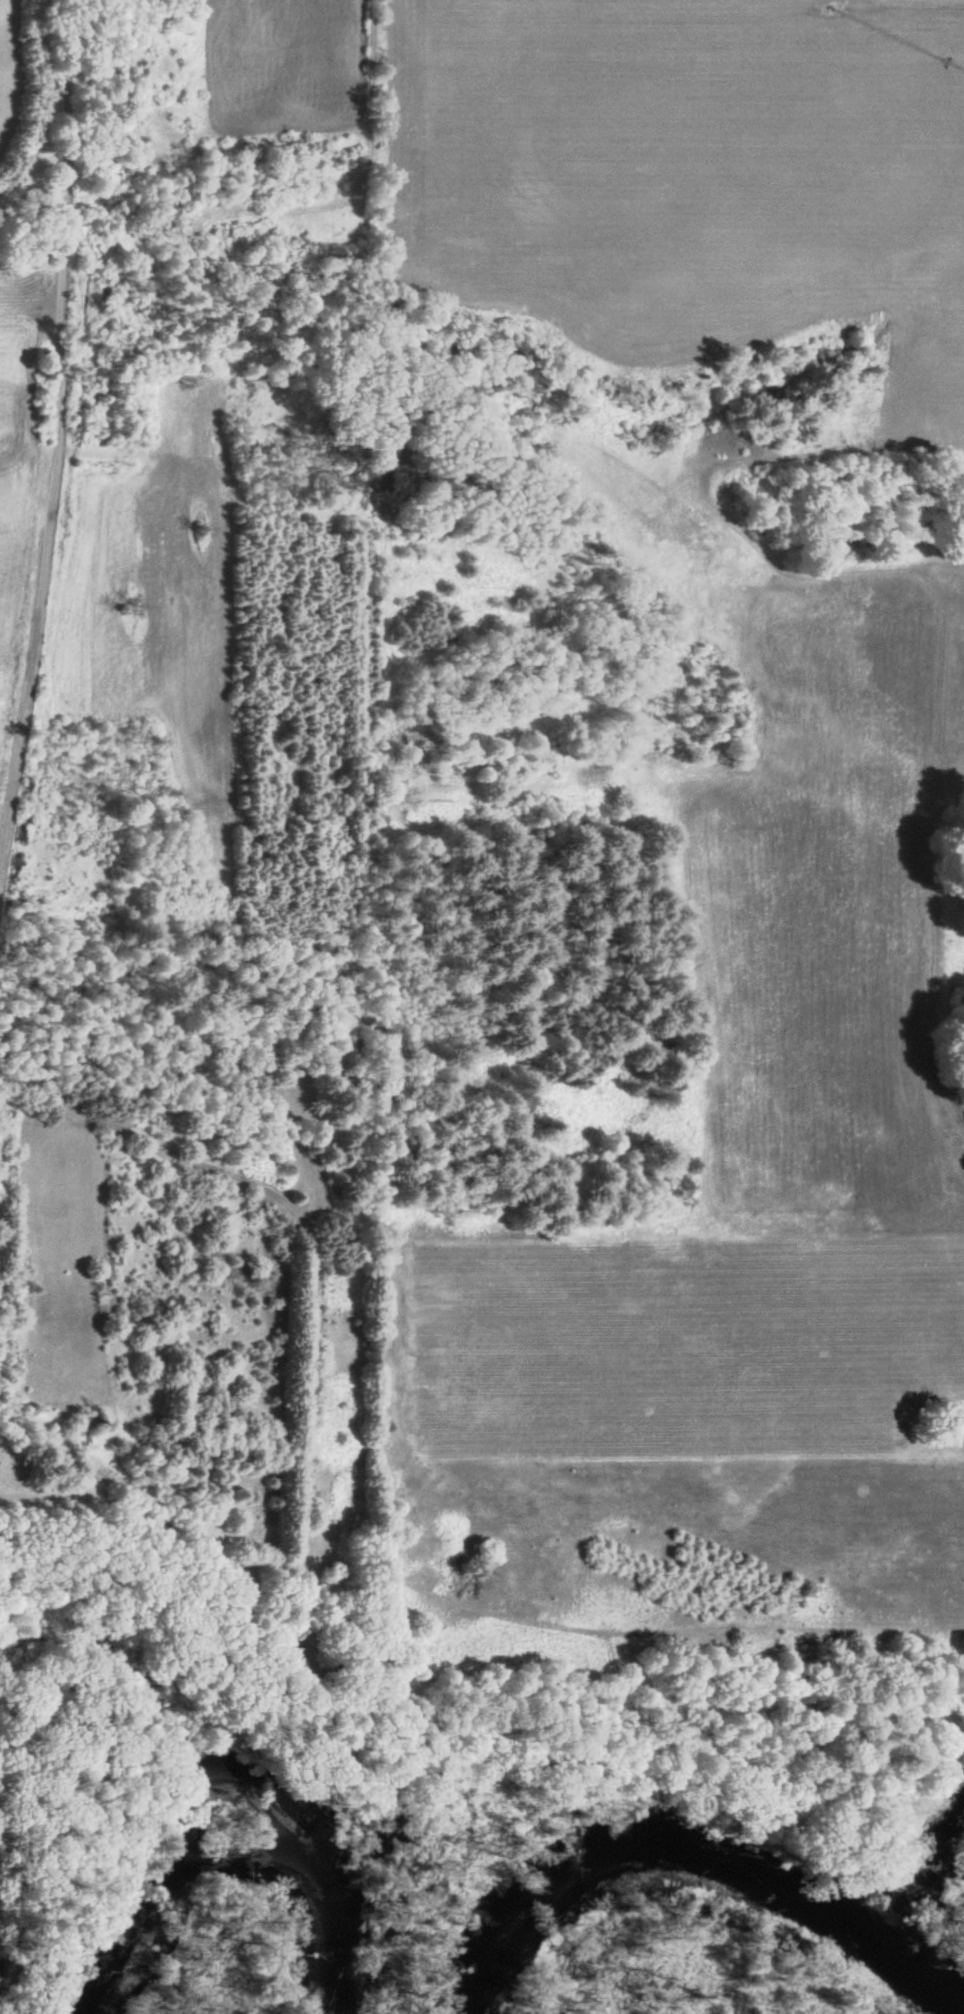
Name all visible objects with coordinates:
river: (215, 1828)
river: (683, 1850)

